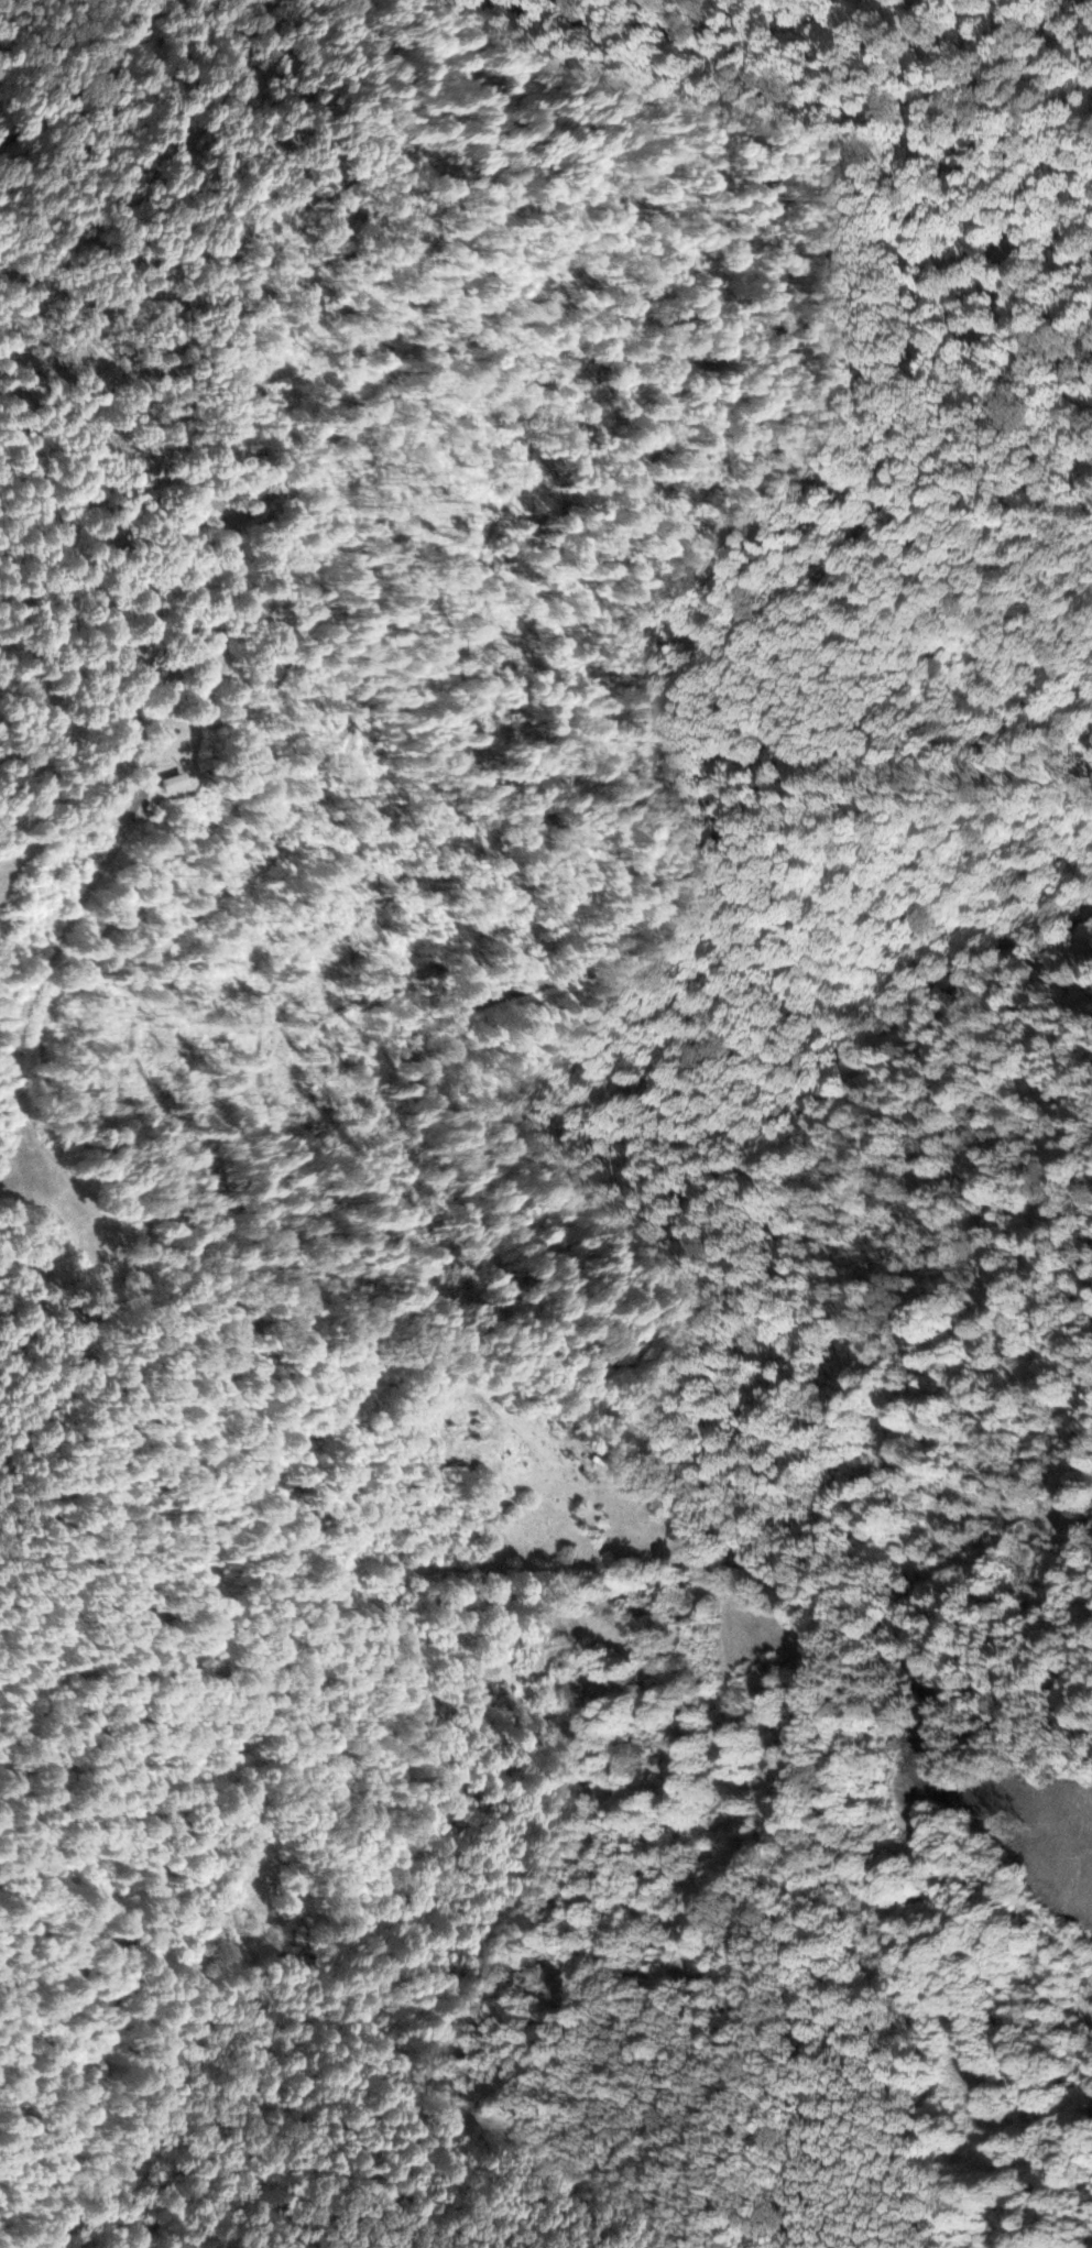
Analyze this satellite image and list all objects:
road: (48, 55)
road: (830, 240)
building: (172, 782)
road: (441, 1037)
road: (942, 1654)
road: (1000, 1824)

